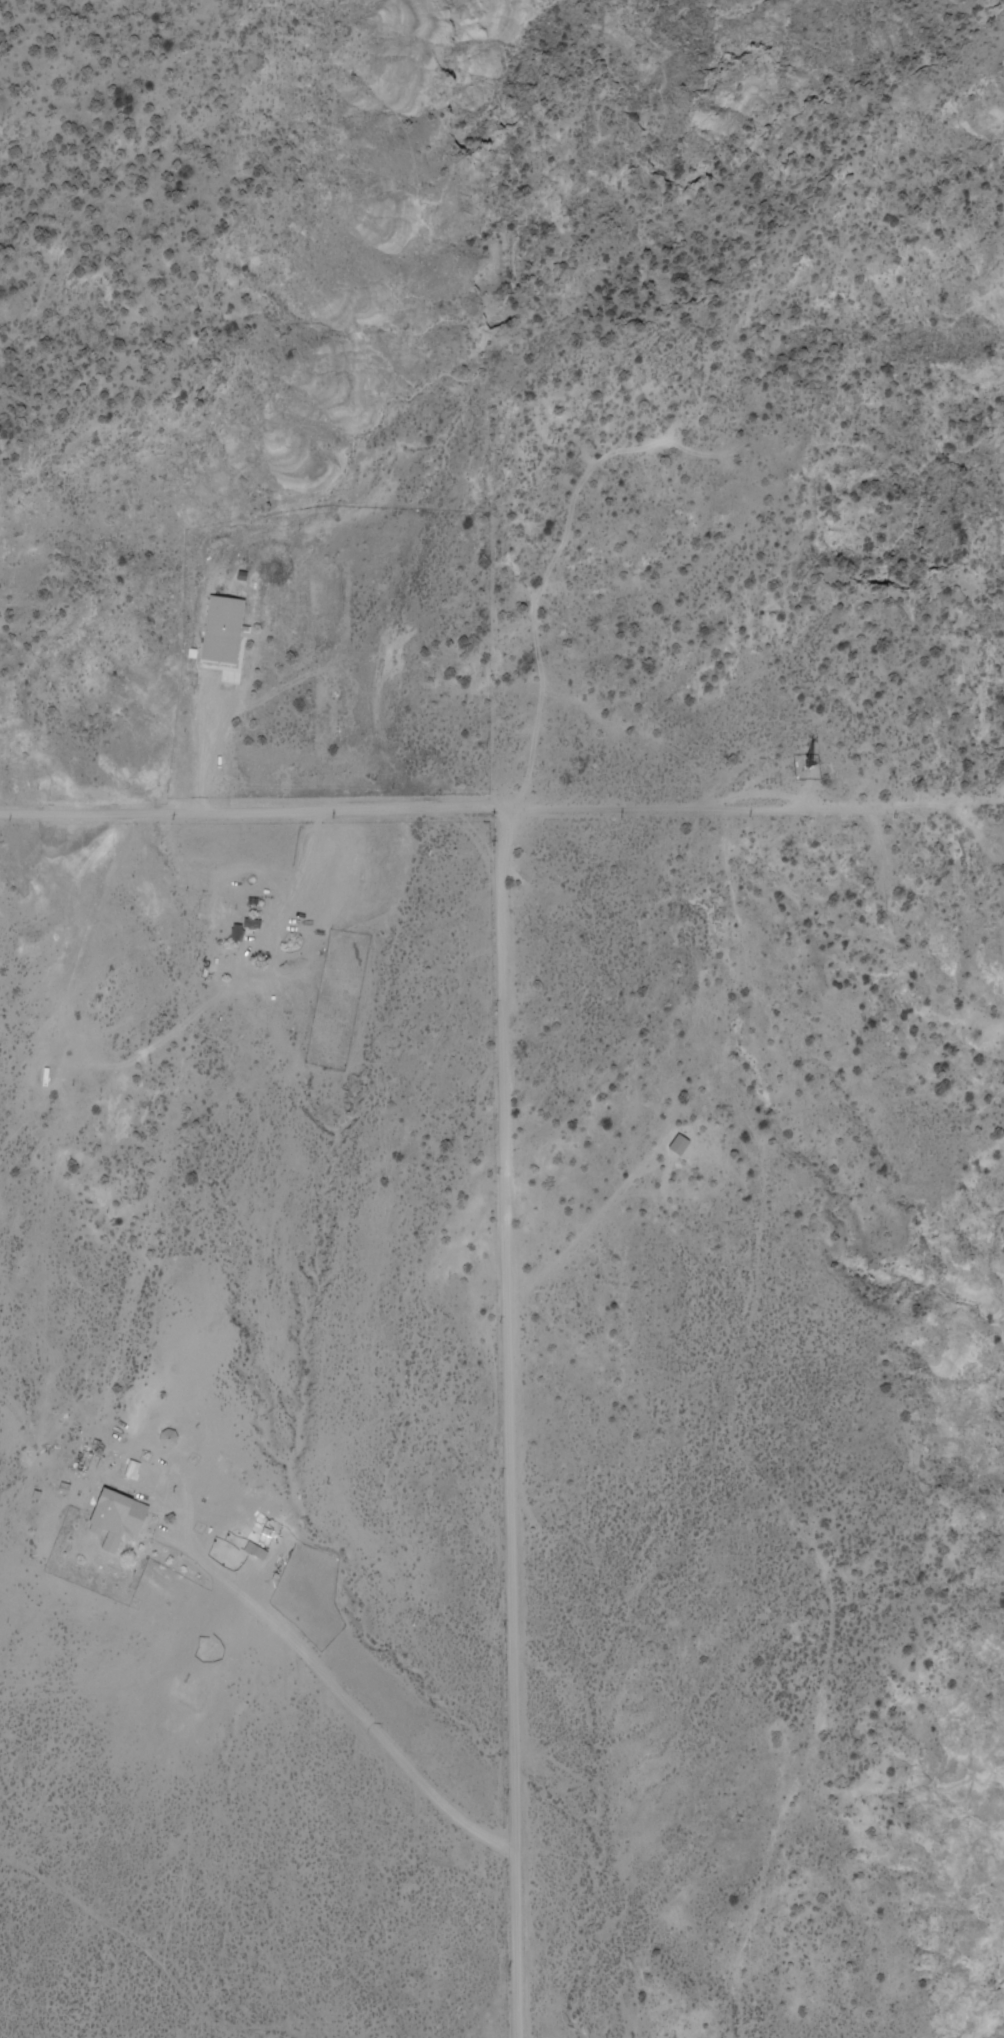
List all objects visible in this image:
building: (225, 631)
road: (755, 810)
road: (504, 1171)
building: (87, 1458)
building: (120, 1530)
road: (122, 1951)

